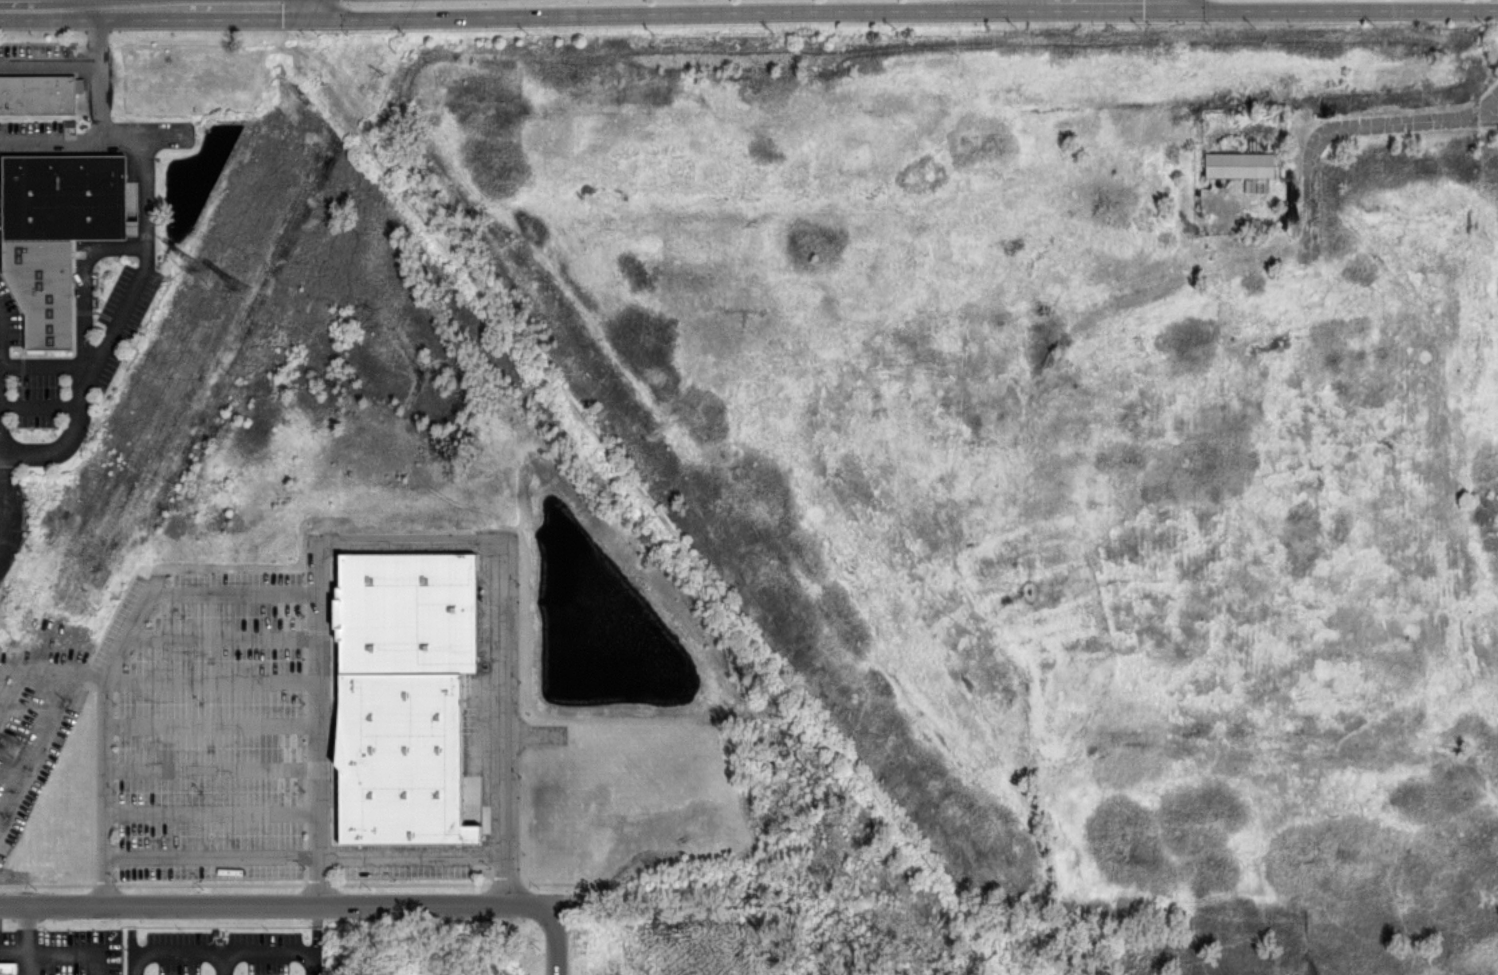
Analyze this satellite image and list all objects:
road: (317, 1)
road: (121, 2)
road: (337, 2)
road: (24, 3)
road: (109, 5)
road: (61, 6)
road: (12, 7)
road: (98, 33)
parking lot: (38, 58)
road: (49, 61)
building: (36, 94)
road: (100, 101)
road: (1392, 119)
parking lot: (30, 136)
road: (50, 141)
building: (1239, 164)
road: (145, 171)
building: (131, 207)
building: (54, 230)
power tower: (203, 271)
road: (82, 275)
power tower: (237, 292)
road: (119, 313)
parking lot: (113, 341)
road: (45, 366)
road: (38, 406)
road: (0, 430)
road: (69, 437)
road: (0, 488)
road: (1, 499)
parking lot: (11, 522)
road: (409, 541)
road: (4, 631)
road: (221, 638)
road: (114, 660)
road: (211, 681)
building: (400, 693)
road: (30, 705)
road: (59, 708)
parking lot: (34, 721)
road: (210, 725)
parking lot: (217, 737)
power tower: (9, 744)
road: (21, 748)
road: (210, 769)
road: (12, 787)
road: (211, 812)
road: (305, 854)
road: (277, 902)
road: (24, 925)
road: (314, 938)
road: (555, 938)
road: (13, 947)
road: (74, 949)
road: (215, 953)
road: (26, 961)
road: (219, 964)
building: (8, 967)

